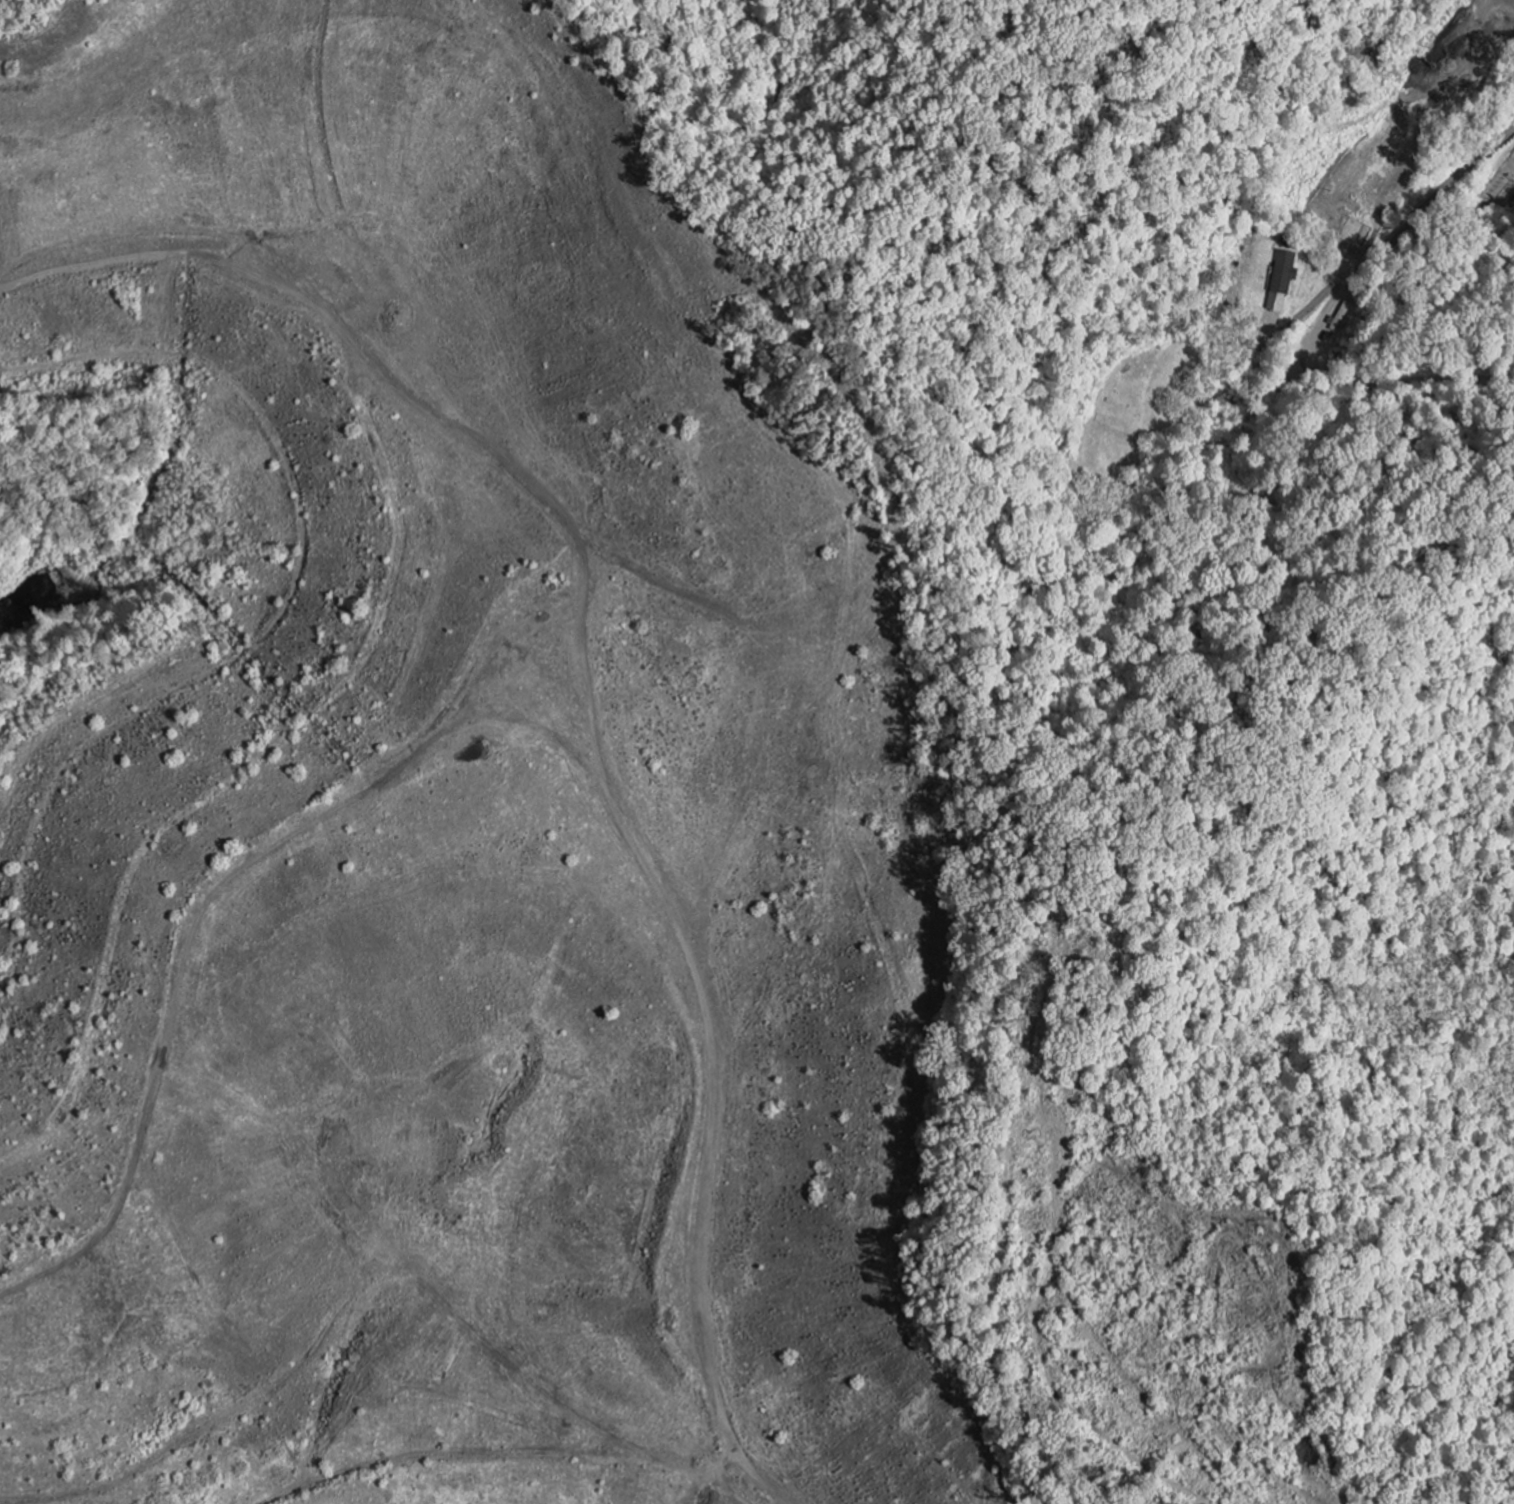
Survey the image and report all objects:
road: (1476, 22)
road: (1431, 198)
building: (1280, 280)

